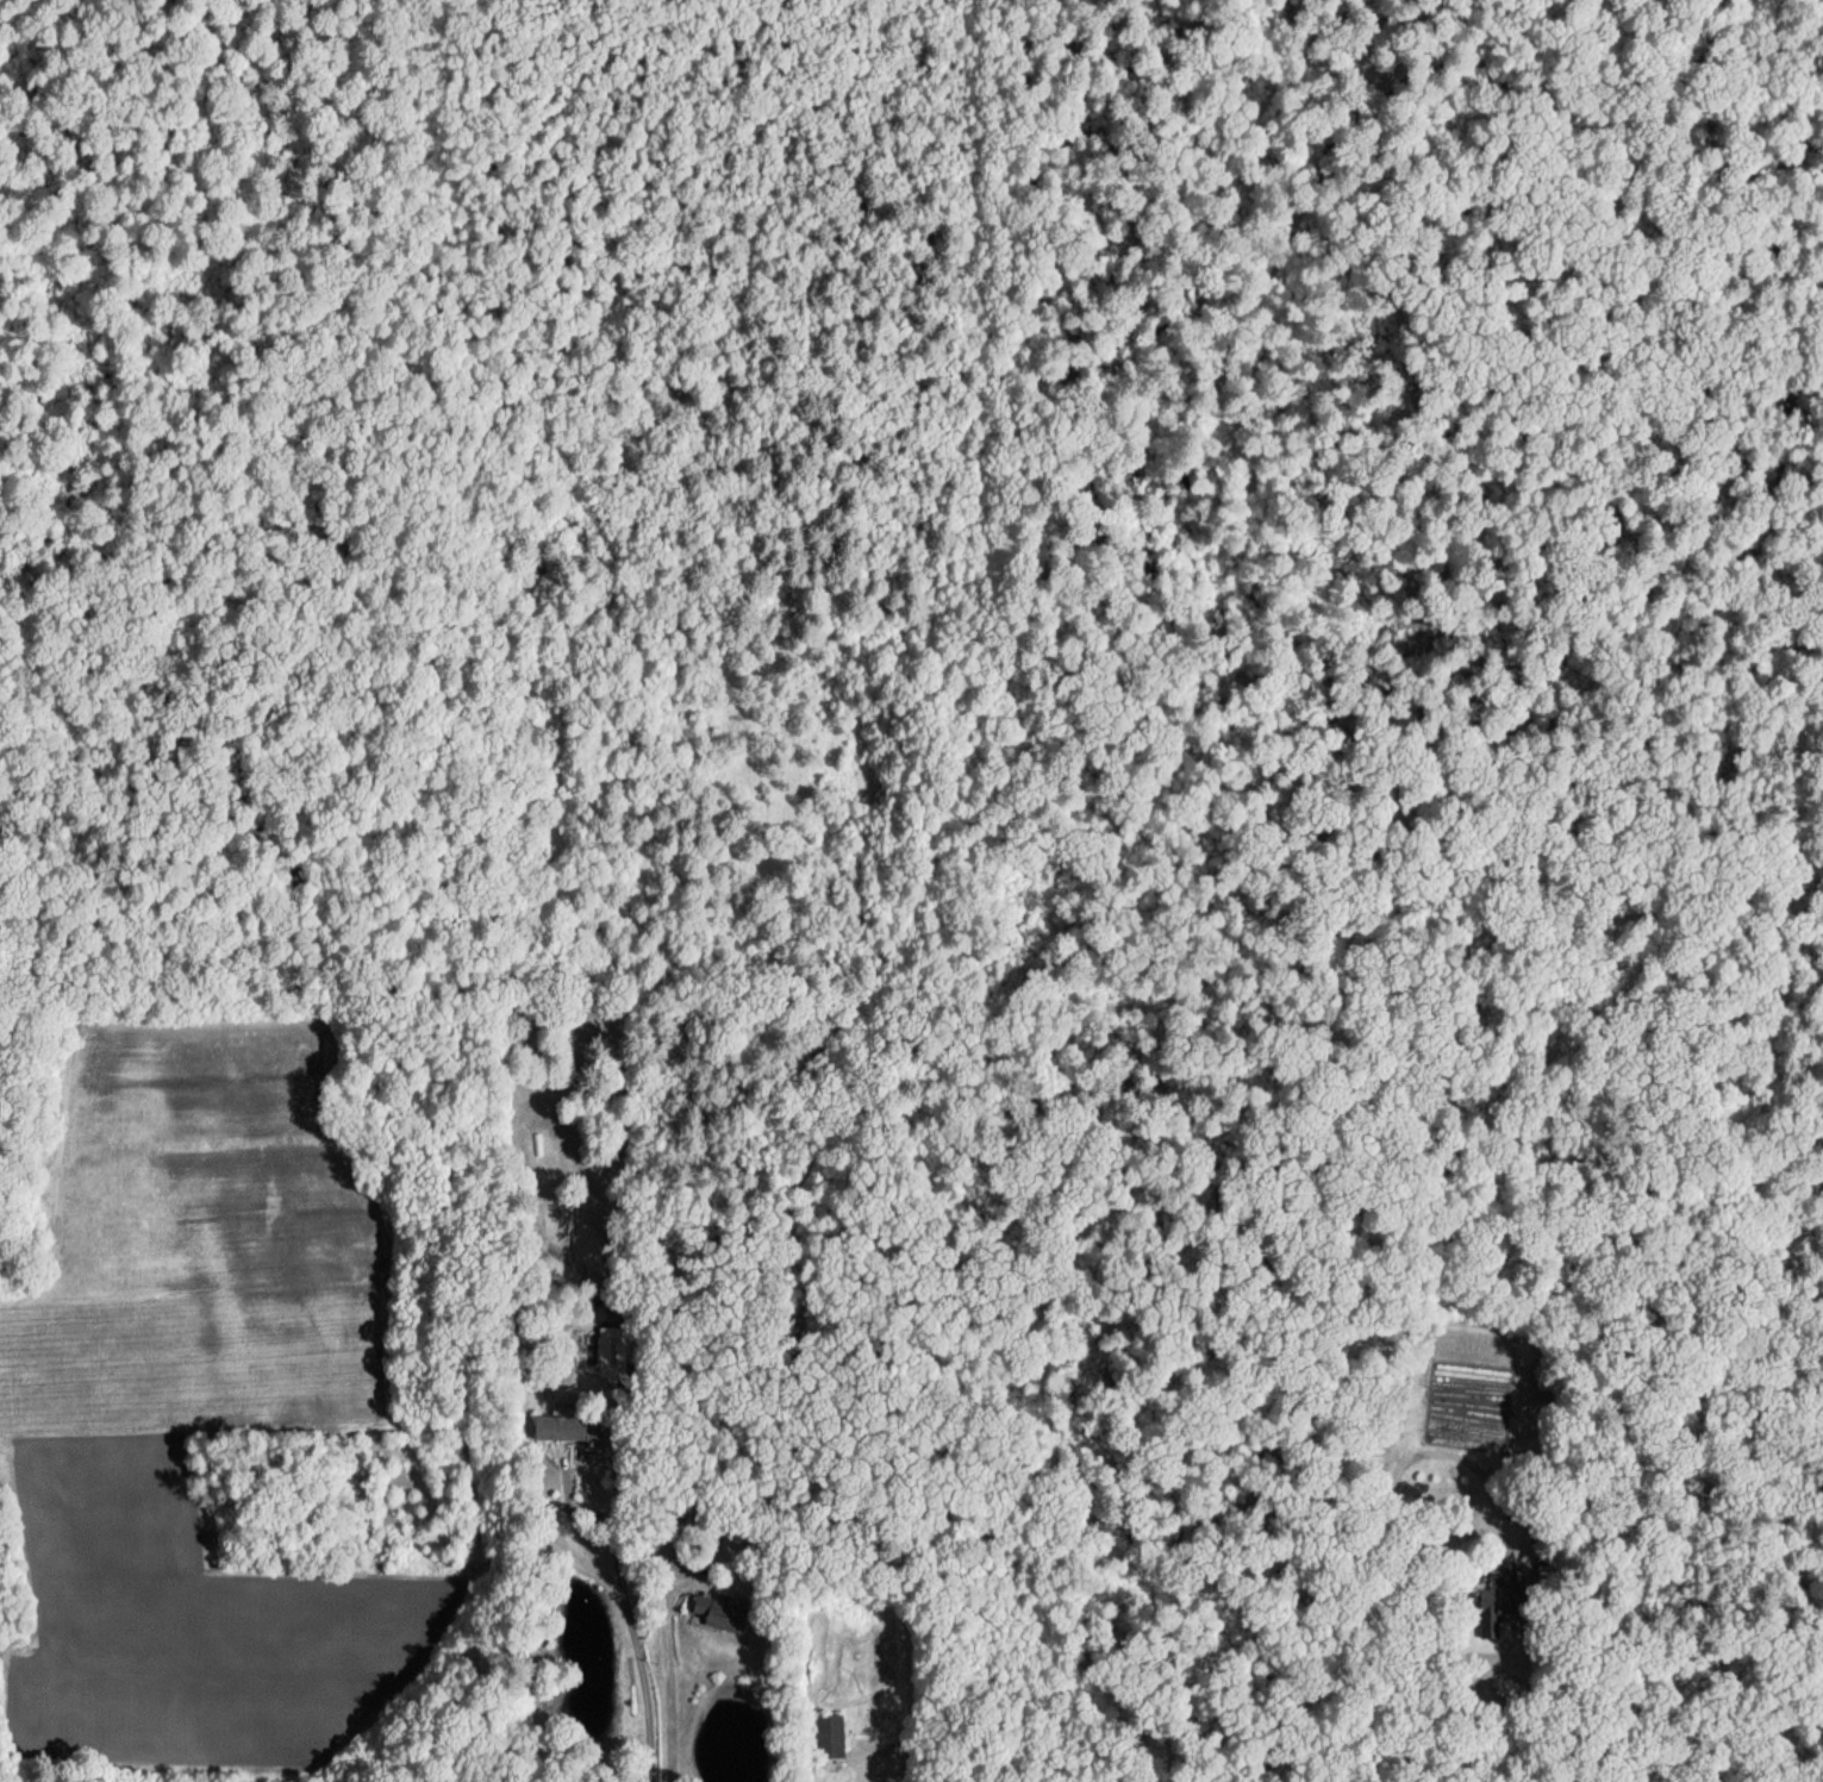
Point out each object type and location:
building: (560, 1430)
road: (582, 1546)
road: (623, 1587)
building: (1494, 1605)
building: (720, 1615)
road: (668, 1672)
road: (1486, 1674)
building: (830, 1737)
road: (1597, 1739)

